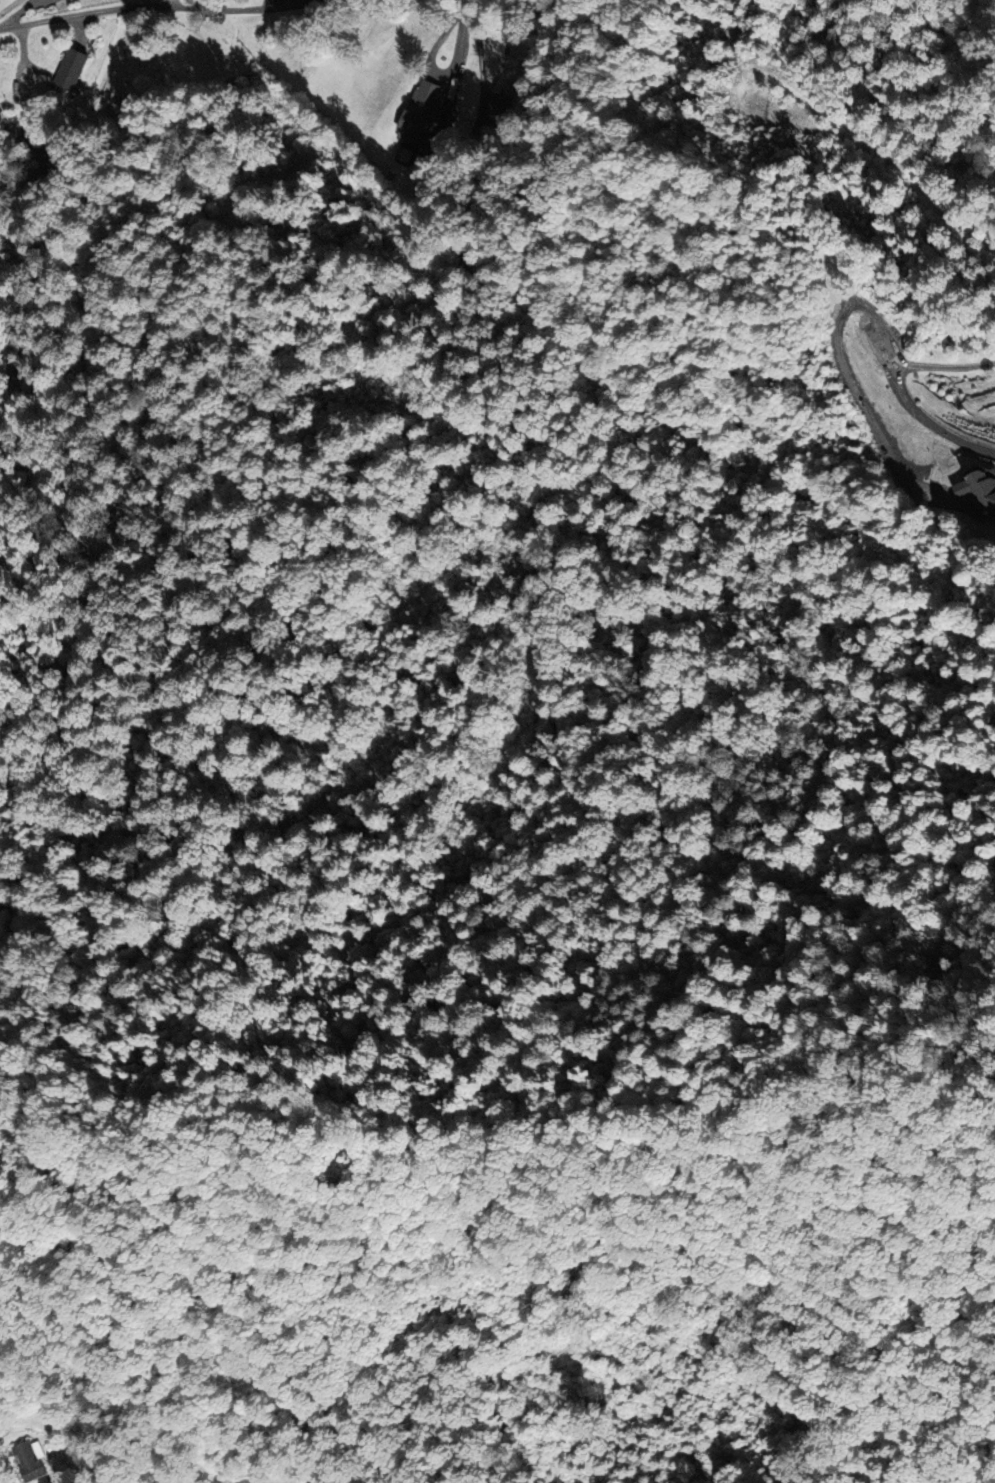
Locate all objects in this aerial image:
road: (464, 0)
road: (156, 8)
road: (477, 54)
road: (457, 63)
building: (69, 69)
building: (495, 106)
building: (420, 110)
road: (898, 390)
building: (979, 488)
building: (29, 1459)
road: (243, 1480)

